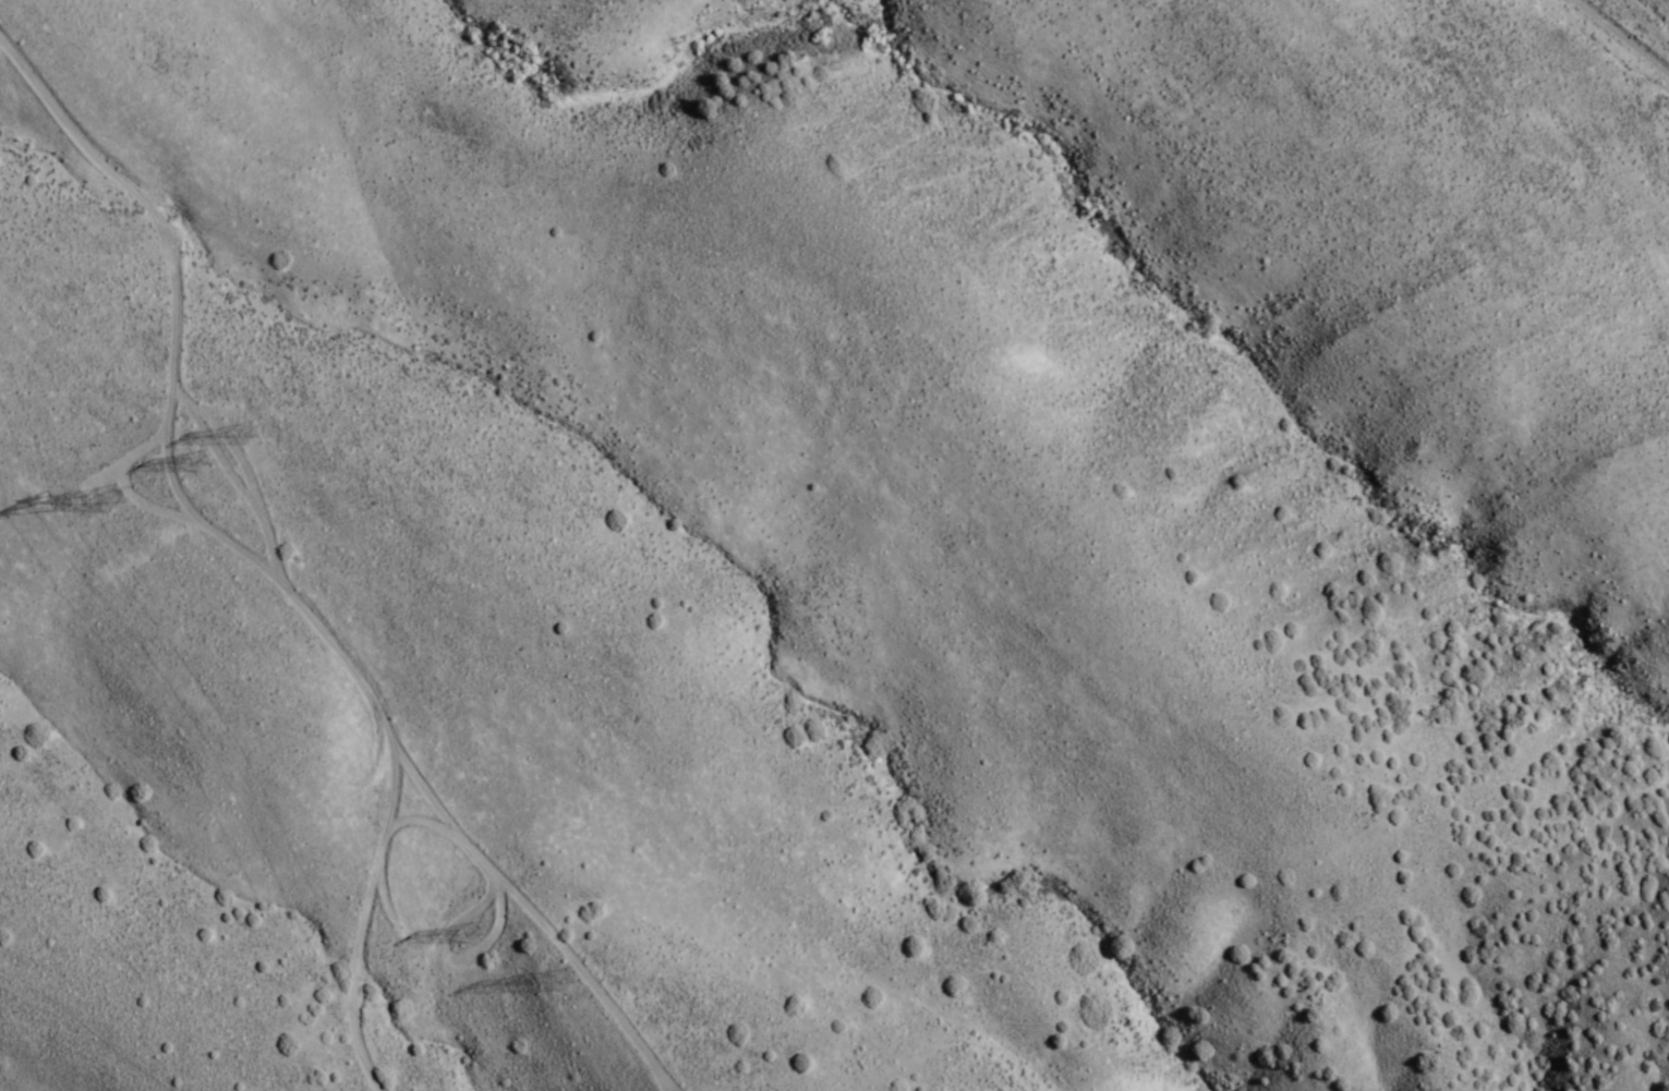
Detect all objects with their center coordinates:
road: (1626, 34)
power tower: (244, 436)
power tower: (197, 462)
power tower: (120, 502)
road: (241, 550)
power tower: (471, 930)
power tower: (564, 983)

